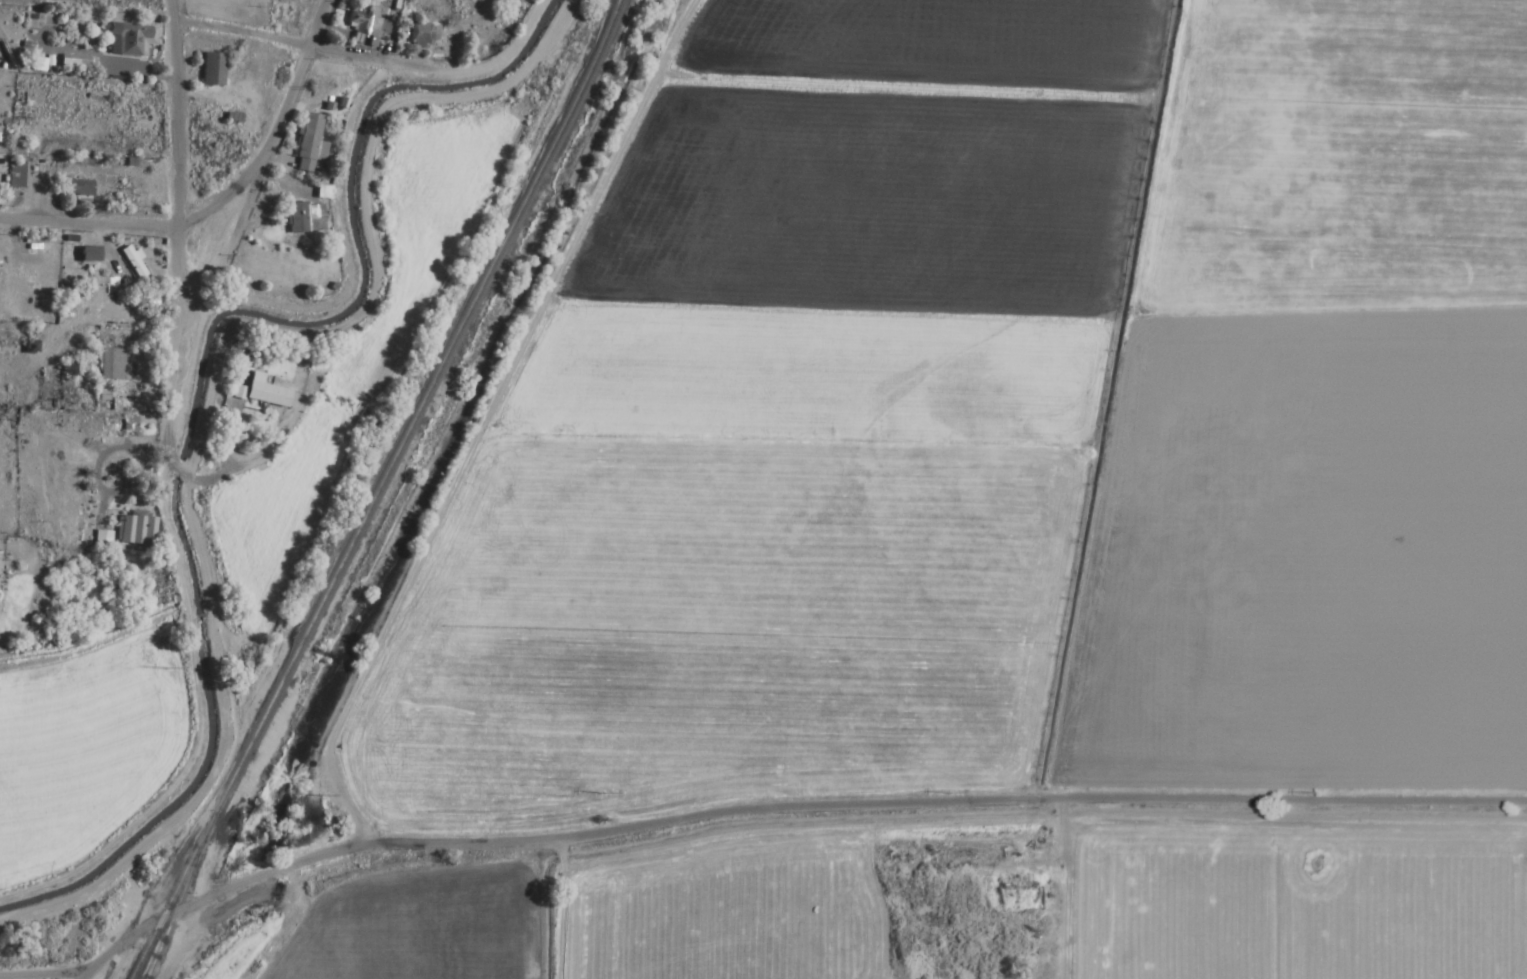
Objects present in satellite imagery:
building: (230, 7)
building: (365, 28)
building: (422, 35)
building: (127, 39)
building: (210, 69)
road: (275, 131)
building: (307, 144)
railway: (550, 145)
building: (14, 175)
building: (76, 188)
building: (137, 198)
road: (175, 207)
building: (296, 217)
road: (88, 226)
building: (131, 263)
building: (111, 364)
crop: (982, 519)
building: (131, 530)
railway: (303, 633)
road: (786, 815)
railway: (177, 898)
road: (42, 975)

